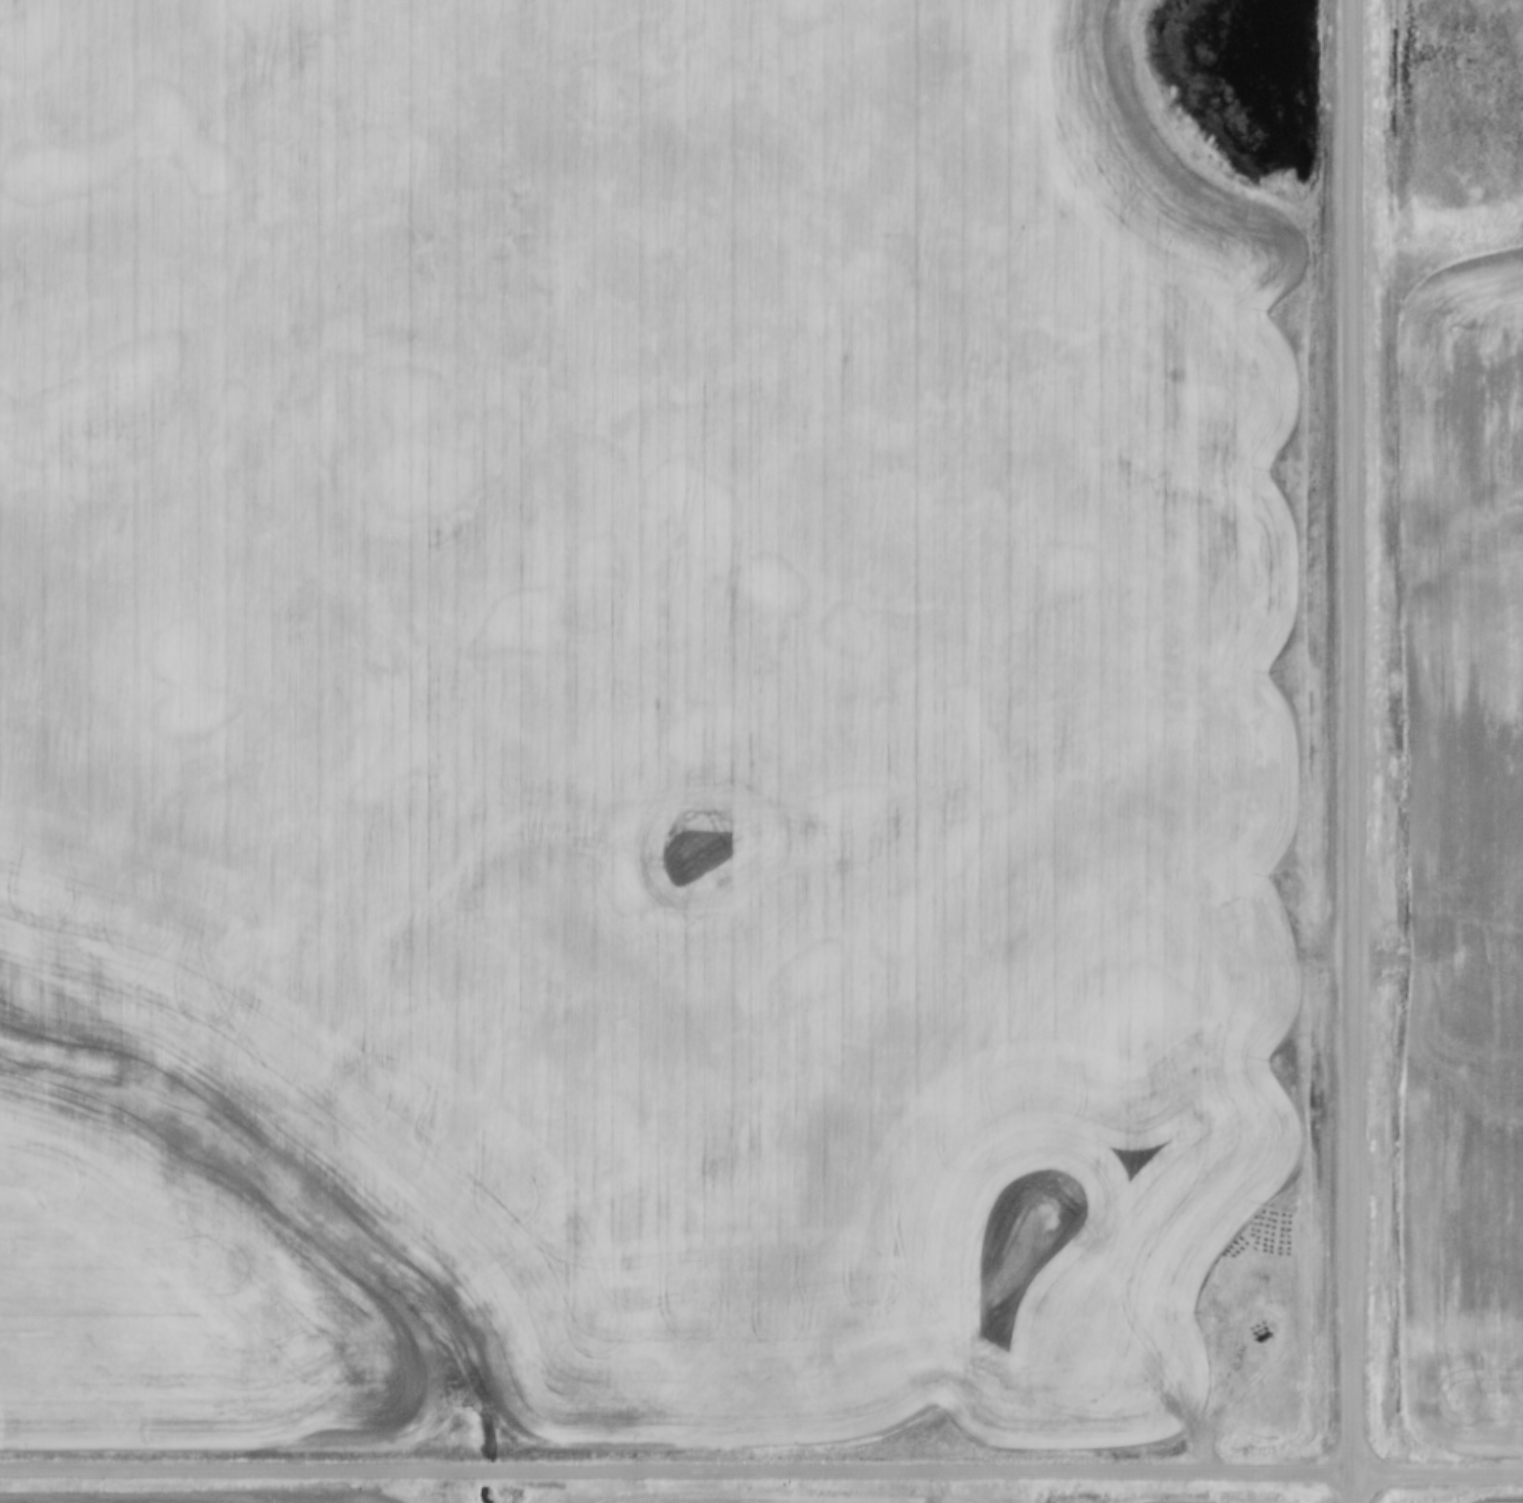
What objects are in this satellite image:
road: (1353, 751)
road: (761, 1471)

